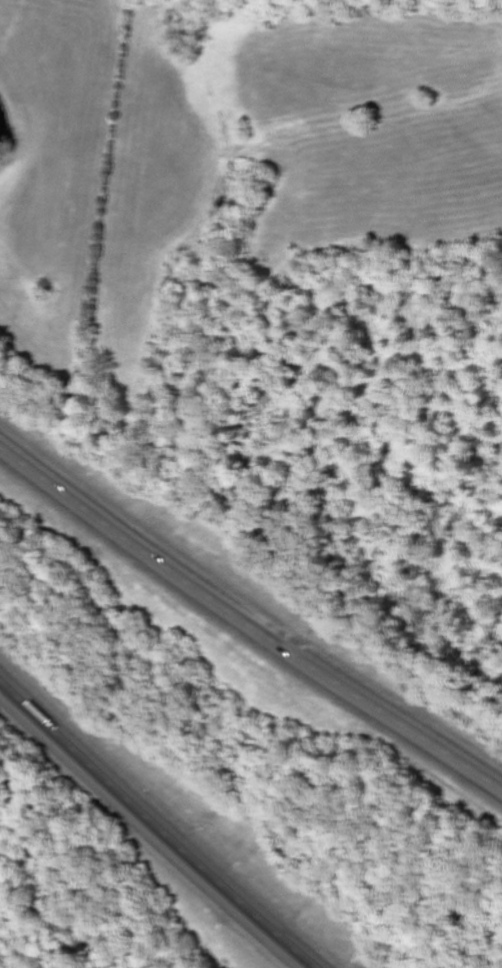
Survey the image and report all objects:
road: (248, 625)
road: (156, 826)

